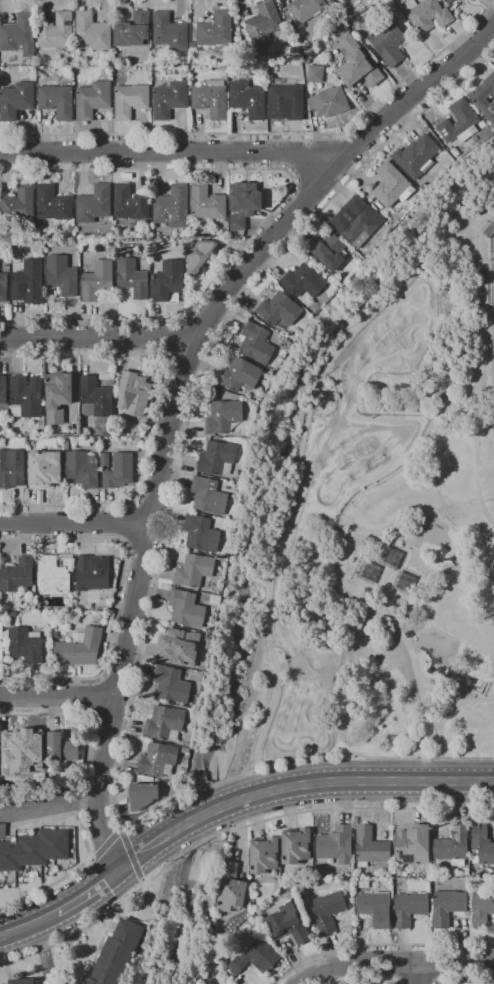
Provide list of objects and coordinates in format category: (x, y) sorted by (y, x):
building: (335, 1)
building: (345, 1)
building: (450, 1)
building: (305, 9)
building: (355, 11)
building: (426, 14)
building: (263, 22)
building: (215, 29)
building: (342, 29)
building: (133, 30)
building: (56, 31)
building: (92, 31)
building: (169, 32)
building: (19, 35)
building: (388, 43)
building: (192, 44)
building: (357, 64)
building: (315, 74)
building: (210, 97)
building: (485, 97)
building: (287, 98)
building: (92, 99)
building: (169, 99)
building: (248, 99)
building: (15, 101)
building: (57, 101)
building: (130, 101)
building: (329, 102)
building: (459, 123)
road: (272, 135)
building: (455, 152)
road: (172, 153)
building: (416, 156)
building: (392, 185)
building: (423, 187)
building: (130, 203)
building: (207, 203)
building: (53, 204)
building: (94, 204)
building: (245, 205)
building: (379, 206)
building: (19, 207)
building: (172, 207)
road: (276, 207)
building: (356, 221)
building: (489, 230)
building: (42, 246)
building: (328, 250)
building: (200, 256)
building: (62, 276)
building: (26, 278)
building: (132, 278)
building: (98, 280)
building: (168, 280)
building: (303, 281)
building: (3, 287)
building: (279, 310)
road: (382, 325)
road: (391, 333)
road: (96, 338)
building: (256, 344)
building: (239, 375)
road: (176, 392)
building: (3, 395)
building: (132, 395)
building: (58, 396)
building: (26, 397)
building: (95, 398)
road: (341, 413)
road: (154, 416)
road: (456, 416)
building: (225, 417)
building: (83, 442)
building: (217, 458)
road: (476, 458)
park: (456, 465)
building: (12, 468)
building: (44, 469)
building: (81, 470)
building: (117, 470)
road: (288, 479)
road: (368, 491)
building: (208, 496)
road: (320, 497)
road: (304, 514)
road: (417, 516)
road: (128, 524)
road: (73, 527)
building: (201, 534)
park: (386, 534)
building: (387, 556)
building: (194, 570)
road: (157, 574)
building: (17, 575)
building: (51, 577)
building: (89, 577)
road: (437, 591)
park: (487, 594)
road: (116, 599)
building: (100, 605)
building: (186, 609)
building: (100, 614)
road: (427, 617)
building: (1, 644)
building: (25, 645)
building: (79, 648)
building: (181, 649)
building: (171, 684)
road: (437, 691)
road: (57, 697)
road: (93, 698)
road: (461, 703)
building: (164, 723)
road: (299, 740)
building: (61, 750)
building: (21, 754)
building: (158, 760)
building: (143, 779)
road: (294, 787)
road: (80, 795)
building: (142, 796)
building: (25, 800)
road: (51, 808)
building: (3, 830)
road: (228, 830)
road: (104, 842)
building: (336, 845)
building: (412, 845)
building: (481, 845)
building: (294, 846)
building: (453, 846)
building: (370, 847)
building: (34, 850)
building: (264, 855)
road: (131, 856)
building: (286, 879)
building: (363, 884)
building: (231, 889)
road: (88, 893)
building: (447, 907)
building: (375, 908)
building: (409, 908)
building: (481, 910)
building: (328, 911)
road: (31, 924)
building: (287, 924)
road: (2, 935)
road: (379, 945)
road: (43, 953)
building: (116, 954)
building: (256, 957)
road: (396, 963)
road: (420, 973)
road: (369, 979)
road: (465, 980)
building: (22, 981)
road: (416, 983)

